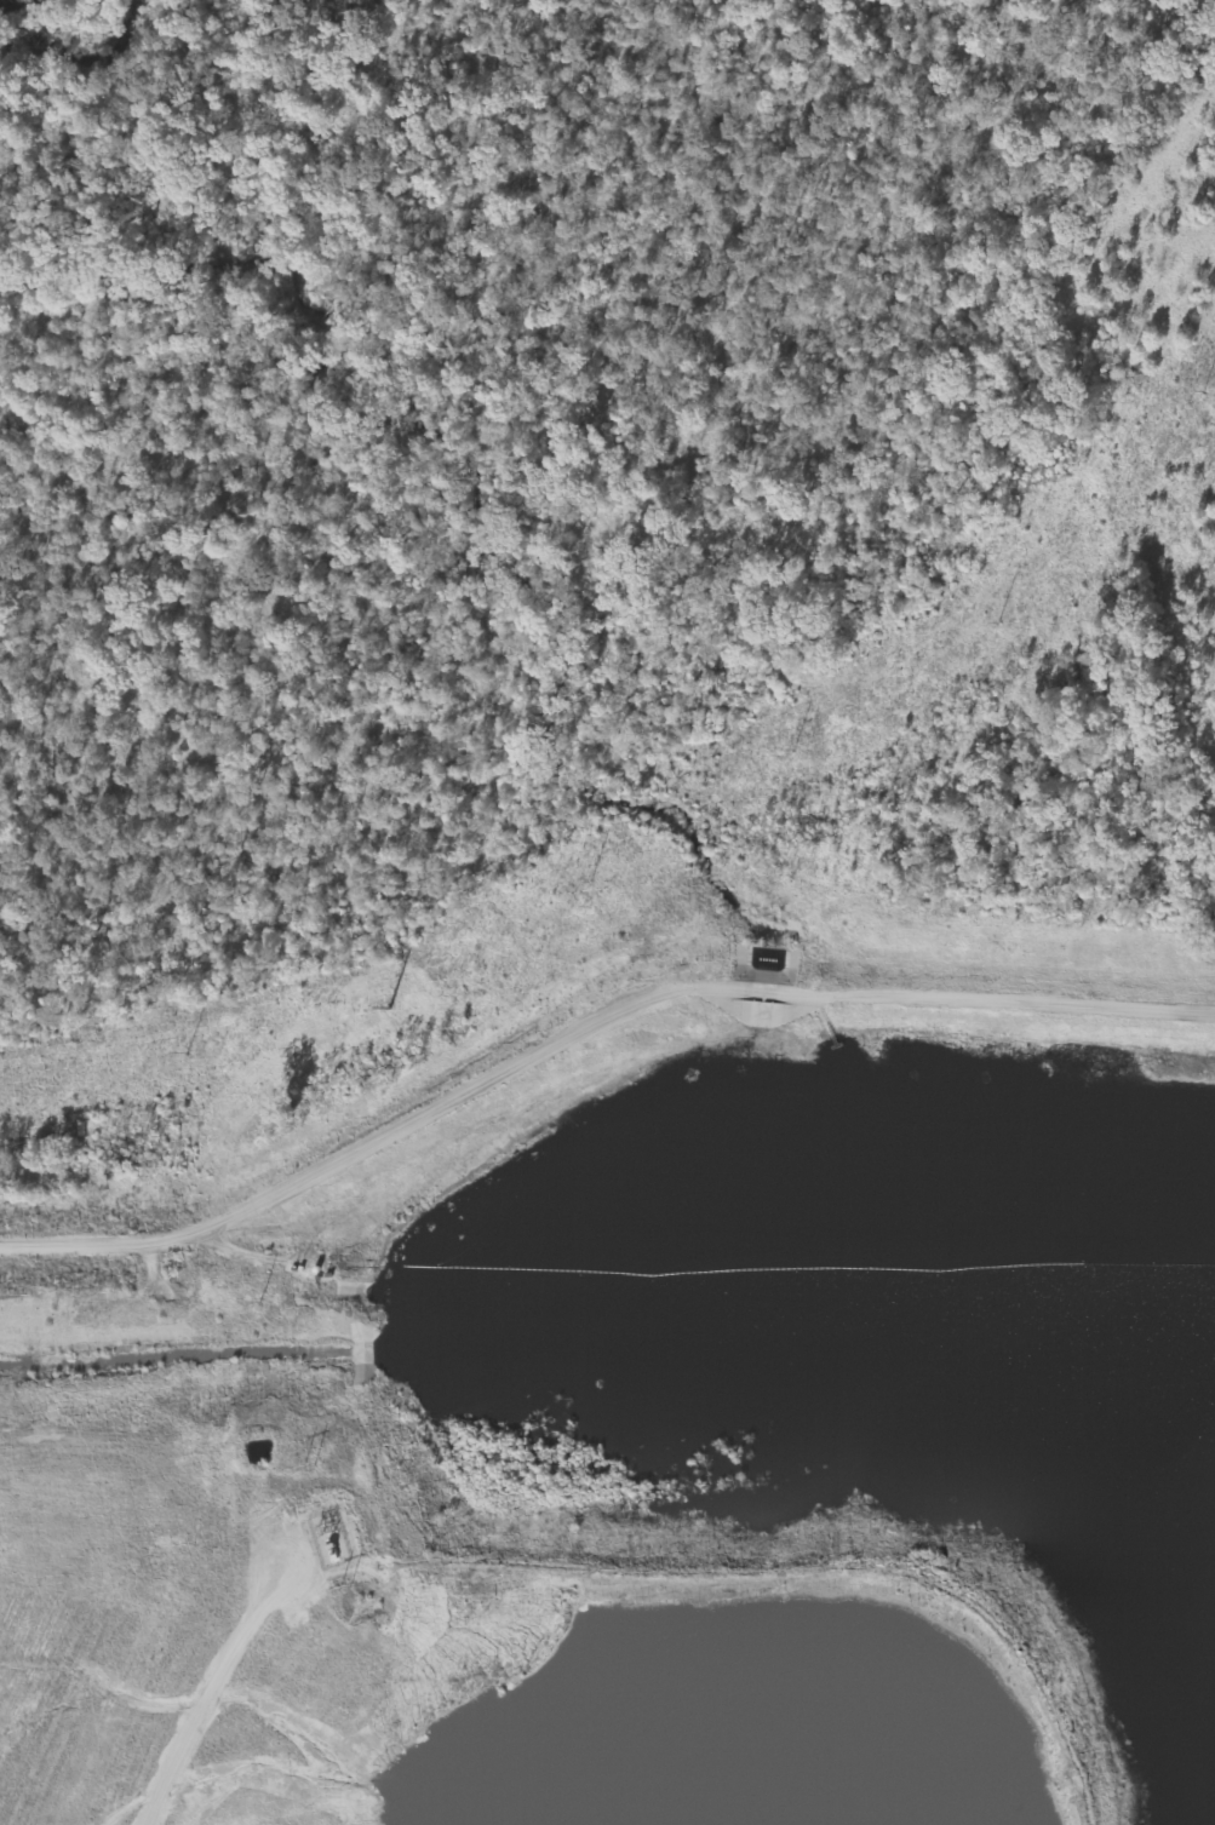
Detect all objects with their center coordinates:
quarry: (654, 1373)
road: (211, 1692)

